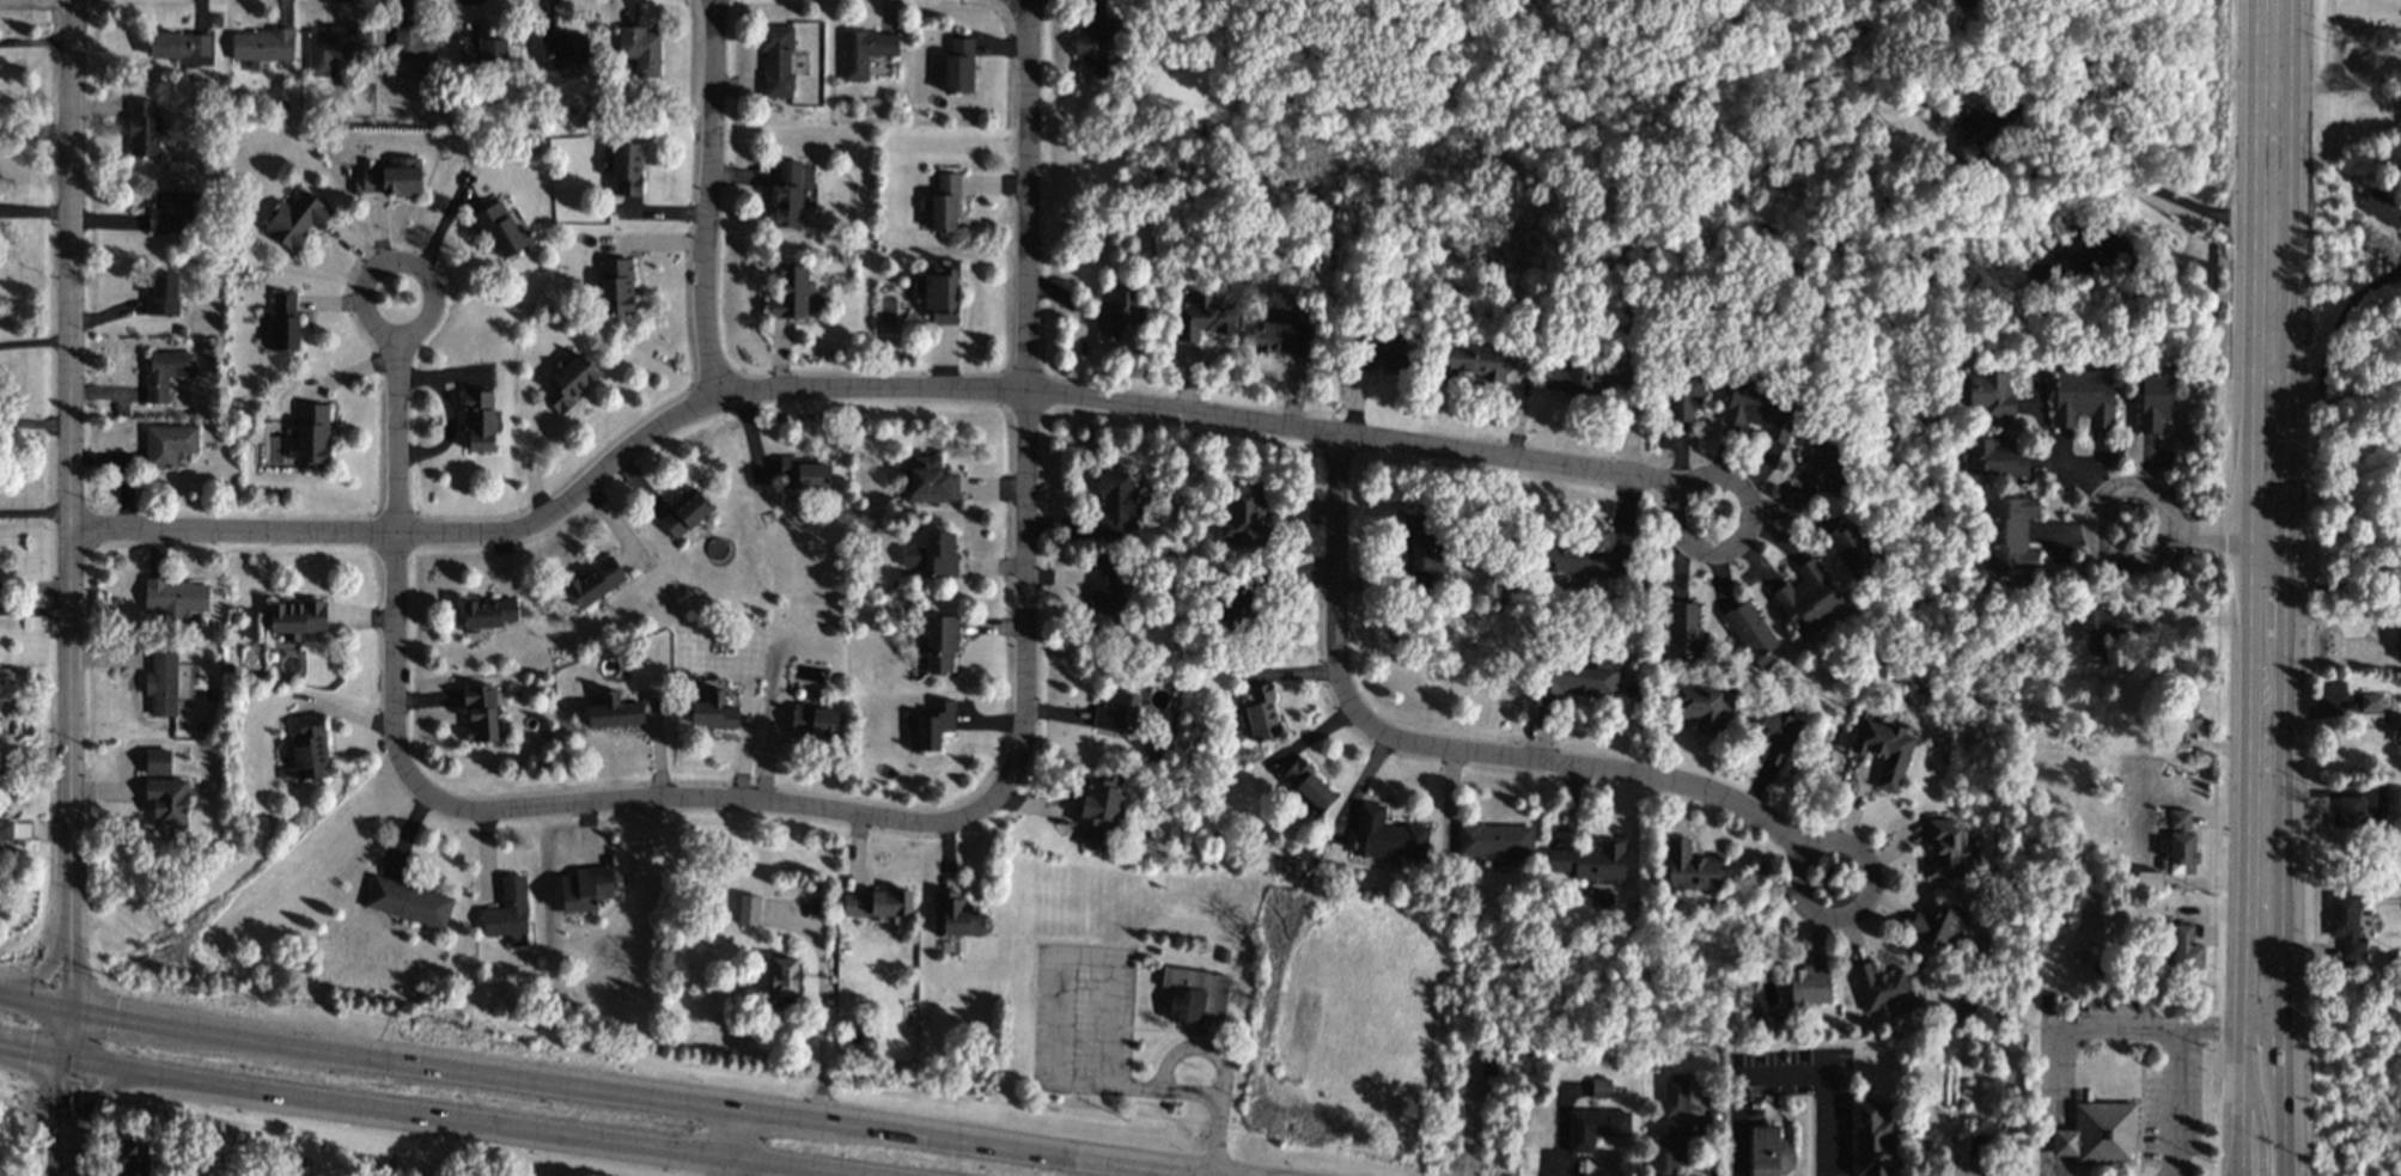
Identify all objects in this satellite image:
building: (178, 45)
building: (1092, 45)
building: (261, 47)
building: (329, 49)
building: (640, 49)
building: (562, 50)
building: (416, 51)
building: (483, 51)
building: (865, 51)
building: (775, 61)
building: (958, 67)
road: (2336, 84)
building: (142, 129)
building: (1973, 135)
building: (623, 169)
building: (392, 177)
road: (2149, 188)
building: (787, 194)
road: (708, 201)
building: (944, 202)
building: (2382, 207)
building: (171, 211)
building: (295, 219)
building: (499, 230)
road: (2269, 273)
building: (615, 285)
building: (938, 292)
building: (163, 294)
building: (794, 294)
building: (1114, 313)
building: (1203, 318)
road: (2336, 321)
building: (285, 322)
building: (1284, 337)
road: (35, 342)
building: (1387, 351)
building: (1473, 361)
building: (165, 372)
building: (1577, 380)
building: (569, 382)
road: (980, 391)
building: (1989, 392)
building: (1684, 397)
road: (2338, 398)
building: (2082, 400)
building: (2153, 402)
road: (1025, 404)
building: (1757, 409)
building: (479, 421)
building: (312, 433)
building: (167, 445)
building: (1995, 458)
building: (1823, 465)
road: (2070, 465)
road: (68, 467)
road: (395, 468)
building: (804, 474)
building: (928, 482)
building: (1115, 506)
road: (33, 511)
building: (683, 513)
building: (1242, 516)
building: (2007, 532)
road: (2196, 544)
building: (1851, 550)
building: (932, 555)
building: (1576, 559)
building: (595, 581)
road: (2334, 583)
road: (33, 585)
building: (175, 597)
building: (1105, 597)
building: (1809, 599)
road: (33, 609)
building: (1237, 610)
building: (488, 613)
road: (2333, 614)
building: (297, 617)
road: (2200, 617)
building: (1682, 629)
building: (2100, 632)
building: (1750, 634)
building: (939, 644)
building: (2397, 645)
building: (1586, 680)
building: (162, 684)
building: (2370, 702)
building: (1701, 706)
building: (712, 711)
building: (614, 712)
building: (1115, 713)
building: (1259, 713)
building: (813, 724)
building: (932, 726)
building: (2397, 733)
building: (1777, 736)
building: (307, 750)
road: (1463, 750)
building: (1883, 751)
building: (157, 761)
road: (2262, 774)
building: (1306, 788)
road: (721, 800)
building: (2393, 800)
building: (167, 802)
building: (1096, 810)
building: (2348, 812)
building: (5, 830)
building: (1385, 835)
building: (1494, 840)
building: (2178, 843)
building: (1943, 849)
building: (1589, 861)
building: (1689, 867)
building: (2147, 881)
building: (585, 889)
building: (408, 902)
building: (507, 909)
building: (748, 910)
building: (956, 915)
building: (2345, 924)
building: (1937, 926)
building: (2184, 949)
road: (1065, 957)
road: (67, 971)
road: (42, 973)
building: (784, 979)
building: (1808, 986)
building: (1881, 987)
building: (1194, 997)
road: (33, 1003)
road: (2256, 1016)
road: (2149, 1026)
road: (2259, 1028)
road: (66, 1035)
road: (819, 1047)
road: (32, 1053)
building: (1488, 1066)
road: (1781, 1073)
building: (1601, 1087)
road: (2275, 1089)
road: (1196, 1092)
road: (97, 1093)
road: (635, 1095)
road: (65, 1097)
building: (1675, 1097)
road: (2044, 1101)
road: (2241, 1101)
road: (2173, 1102)
road: (467, 1121)
road: (2257, 1126)
building: (1595, 1127)
road: (1473, 1128)
building: (2097, 1134)
building: (1872, 1140)
road: (730, 1141)
building: (1670, 1148)
building: (1769, 1153)
road: (66, 1154)
building: (134, 1157)
road: (2237, 1159)

